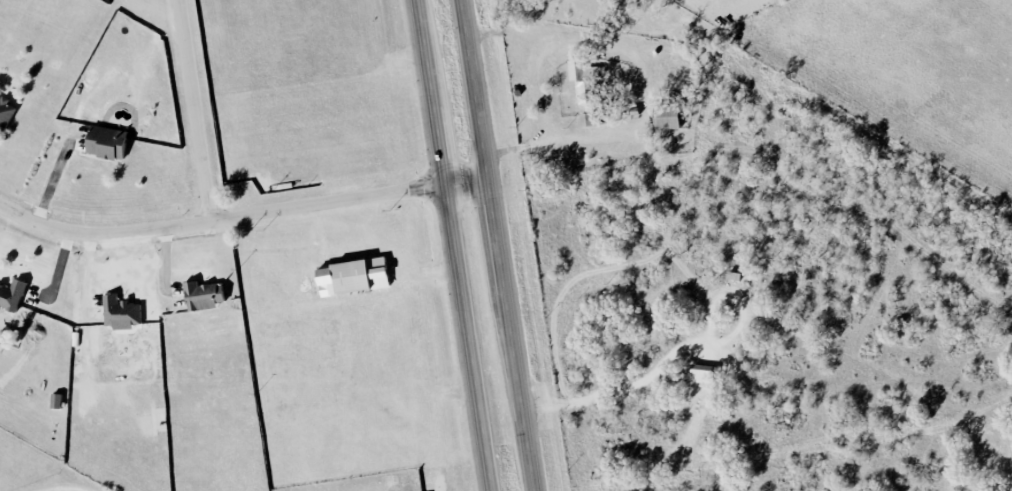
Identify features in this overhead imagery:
building: (582, 77)
road: (196, 110)
building: (5, 113)
building: (666, 117)
building: (588, 119)
building: (106, 142)
road: (242, 216)
road: (456, 245)
road: (498, 245)
road: (58, 274)
building: (359, 275)
building: (11, 295)
building: (204, 295)
building: (121, 313)
building: (703, 370)
building: (56, 400)
road: (63, 488)

